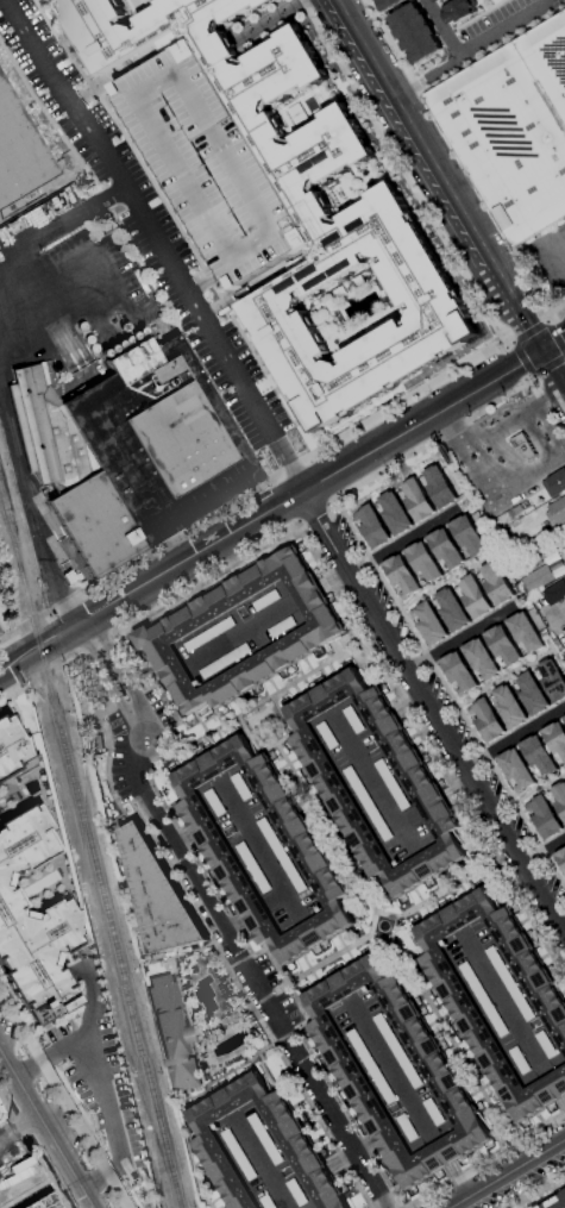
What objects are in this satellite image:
building: (445, 0)
building: (258, 1)
building: (438, 1)
road: (313, 4)
building: (388, 4)
road: (340, 5)
road: (481, 6)
building: (457, 11)
road: (473, 17)
road: (440, 29)
building: (415, 33)
road: (388, 44)
road: (473, 48)
road: (40, 107)
building: (513, 129)
road: (419, 136)
building: (19, 151)
building: (211, 161)
parking garage: (211, 161)
road: (412, 173)
road: (485, 207)
building: (306, 209)
road: (58, 219)
road: (176, 226)
road: (156, 244)
road: (554, 254)
road: (517, 306)
road: (8, 315)
road: (547, 317)
road: (527, 331)
road: (554, 338)
silo: (124, 339)
road: (506, 340)
road: (553, 340)
traffic signals: (544, 349)
road: (527, 353)
road: (520, 358)
traffic signals: (531, 358)
road: (547, 365)
road: (553, 367)
road: (529, 380)
road: (544, 381)
road: (419, 390)
road: (548, 396)
road: (559, 413)
road: (515, 414)
road: (457, 425)
road: (534, 436)
building: (522, 446)
building: (130, 450)
gas station: (509, 458)
road: (21, 465)
road: (496, 467)
building: (554, 483)
building: (439, 487)
road: (302, 492)
building: (418, 500)
building: (557, 511)
road: (310, 512)
building: (394, 513)
railway: (10, 522)
road: (296, 524)
building: (371, 526)
railway: (10, 533)
building: (467, 534)
building: (544, 537)
flagpole: (128, 538)
road: (402, 542)
building: (445, 549)
road: (231, 558)
building: (422, 562)
building: (401, 576)
road: (332, 578)
building: (538, 578)
road: (444, 584)
building: (496, 584)
road: (59, 593)
building: (555, 593)
road: (308, 594)
building: (475, 597)
building: (268, 601)
road: (170, 602)
building: (452, 609)
road: (557, 616)
building: (429, 622)
building: (283, 627)
road: (245, 631)
building: (164, 632)
building: (525, 632)
road: (2, 633)
building: (211, 636)
road: (460, 638)
building: (502, 645)
road: (42, 649)
road: (14, 650)
building: (479, 658)
building: (226, 662)
road: (11, 666)
building: (458, 672)
road: (119, 678)
road: (501, 678)
building: (552, 681)
road: (23, 688)
road: (106, 689)
building: (532, 694)
road: (448, 695)
road: (402, 696)
road: (12, 705)
road: (256, 706)
building: (509, 707)
road: (432, 714)
building: (564, 719)
building: (485, 720)
building: (354, 721)
building: (329, 736)
road: (514, 738)
building: (555, 739)
building: (94, 743)
road: (274, 743)
building: (10, 744)
road: (431, 751)
building: (538, 755)
building: (321, 768)
building: (515, 770)
road: (372, 781)
building: (393, 784)
building: (243, 787)
road: (538, 787)
road: (457, 790)
building: (559, 799)
building: (216, 802)
building: (369, 805)
road: (432, 805)
road: (409, 816)
building: (544, 816)
road: (325, 827)
road: (183, 835)
road: (262, 849)
road: (542, 851)
building: (283, 856)
building: (560, 858)
building: (314, 863)
building: (255, 868)
railway: (99, 884)
road: (447, 888)
building: (157, 896)
road: (276, 899)
road: (255, 912)
road: (400, 918)
road: (234, 922)
road: (231, 924)
building: (33, 926)
road: (202, 927)
road: (238, 960)
road: (319, 964)
road: (252, 975)
building: (511, 983)
road: (259, 1000)
building: (484, 1001)
road: (504, 1003)
building: (466, 1013)
building: (172, 1033)
road: (282, 1035)
road: (81, 1039)
building: (547, 1047)
building: (400, 1052)
road: (457, 1052)
building: (521, 1060)
building: (372, 1068)
building: (437, 1069)
road: (394, 1074)
road: (554, 1087)
road: (63, 1100)
road: (103, 1100)
road: (563, 1101)
building: (435, 1113)
building: (409, 1129)
road: (45, 1131)
building: (268, 1139)
building: (294, 1139)
road: (349, 1152)
road: (442, 1153)
building: (240, 1154)
road: (485, 1159)
road: (262, 1162)
road: (506, 1172)
road: (100, 1175)
road: (457, 1179)
road: (536, 1191)
building: (299, 1193)
building: (40, 1200)
building: (269, 1202)
building: (555, 1202)

